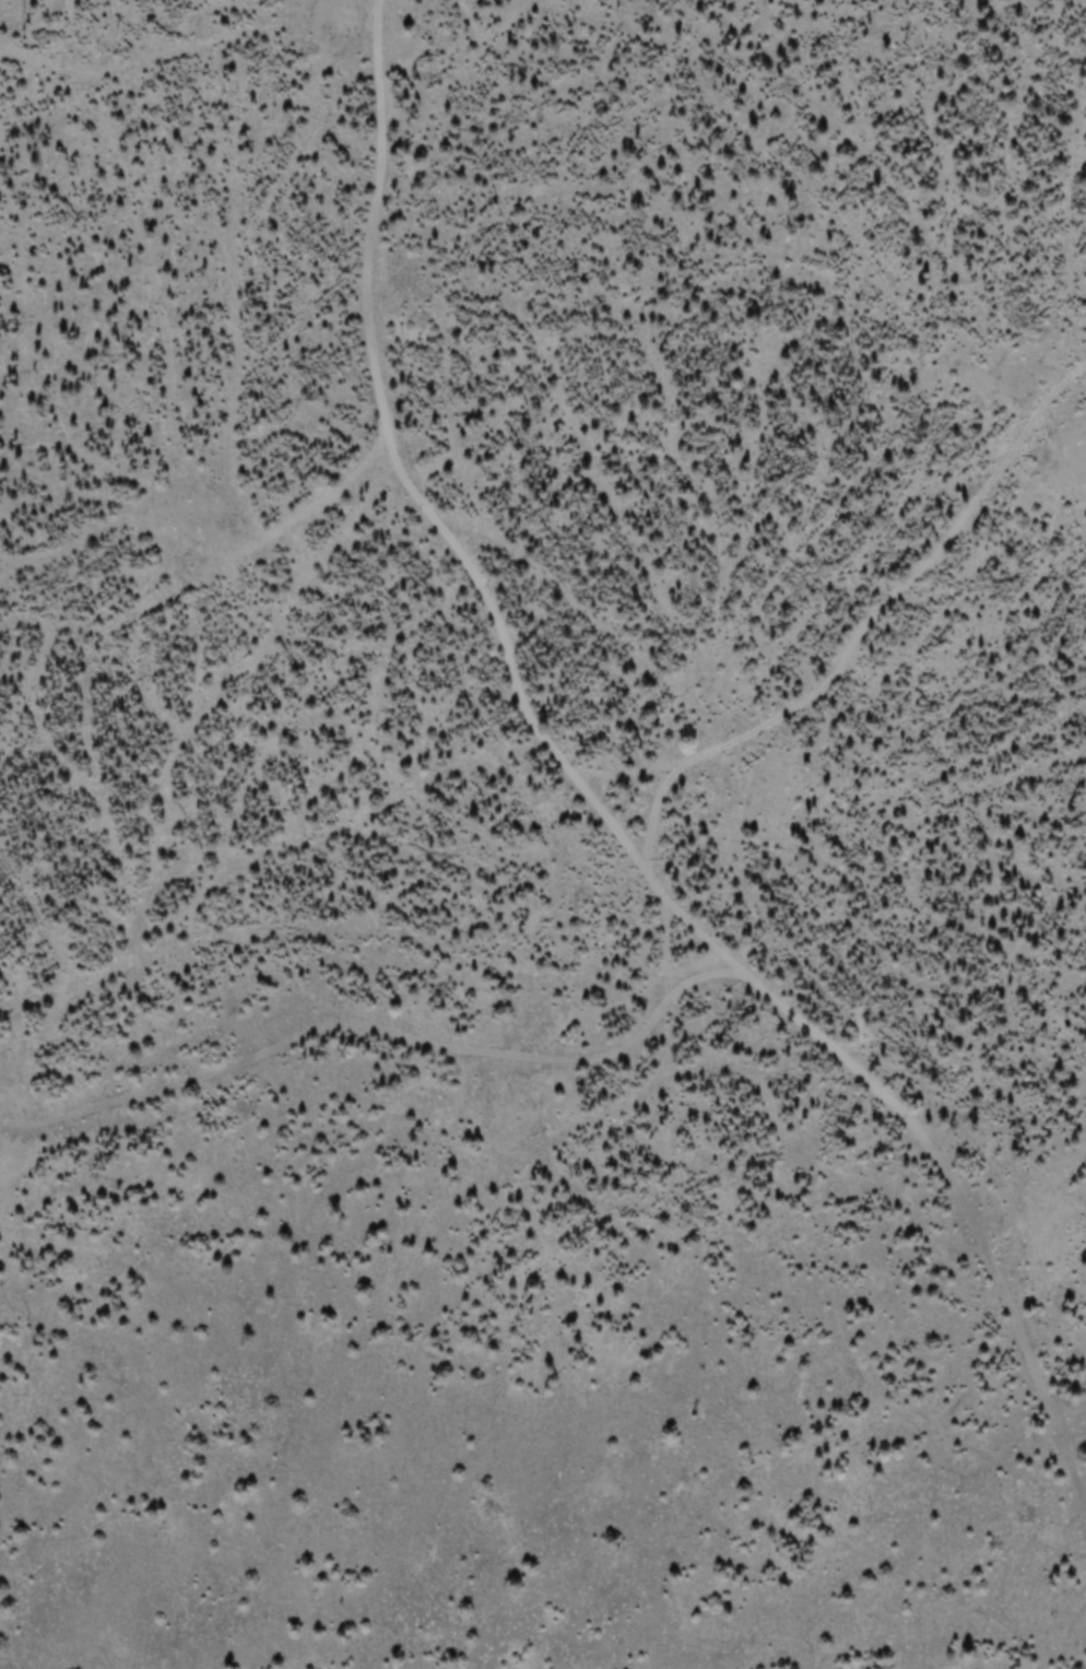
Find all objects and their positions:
road: (432, 912)

